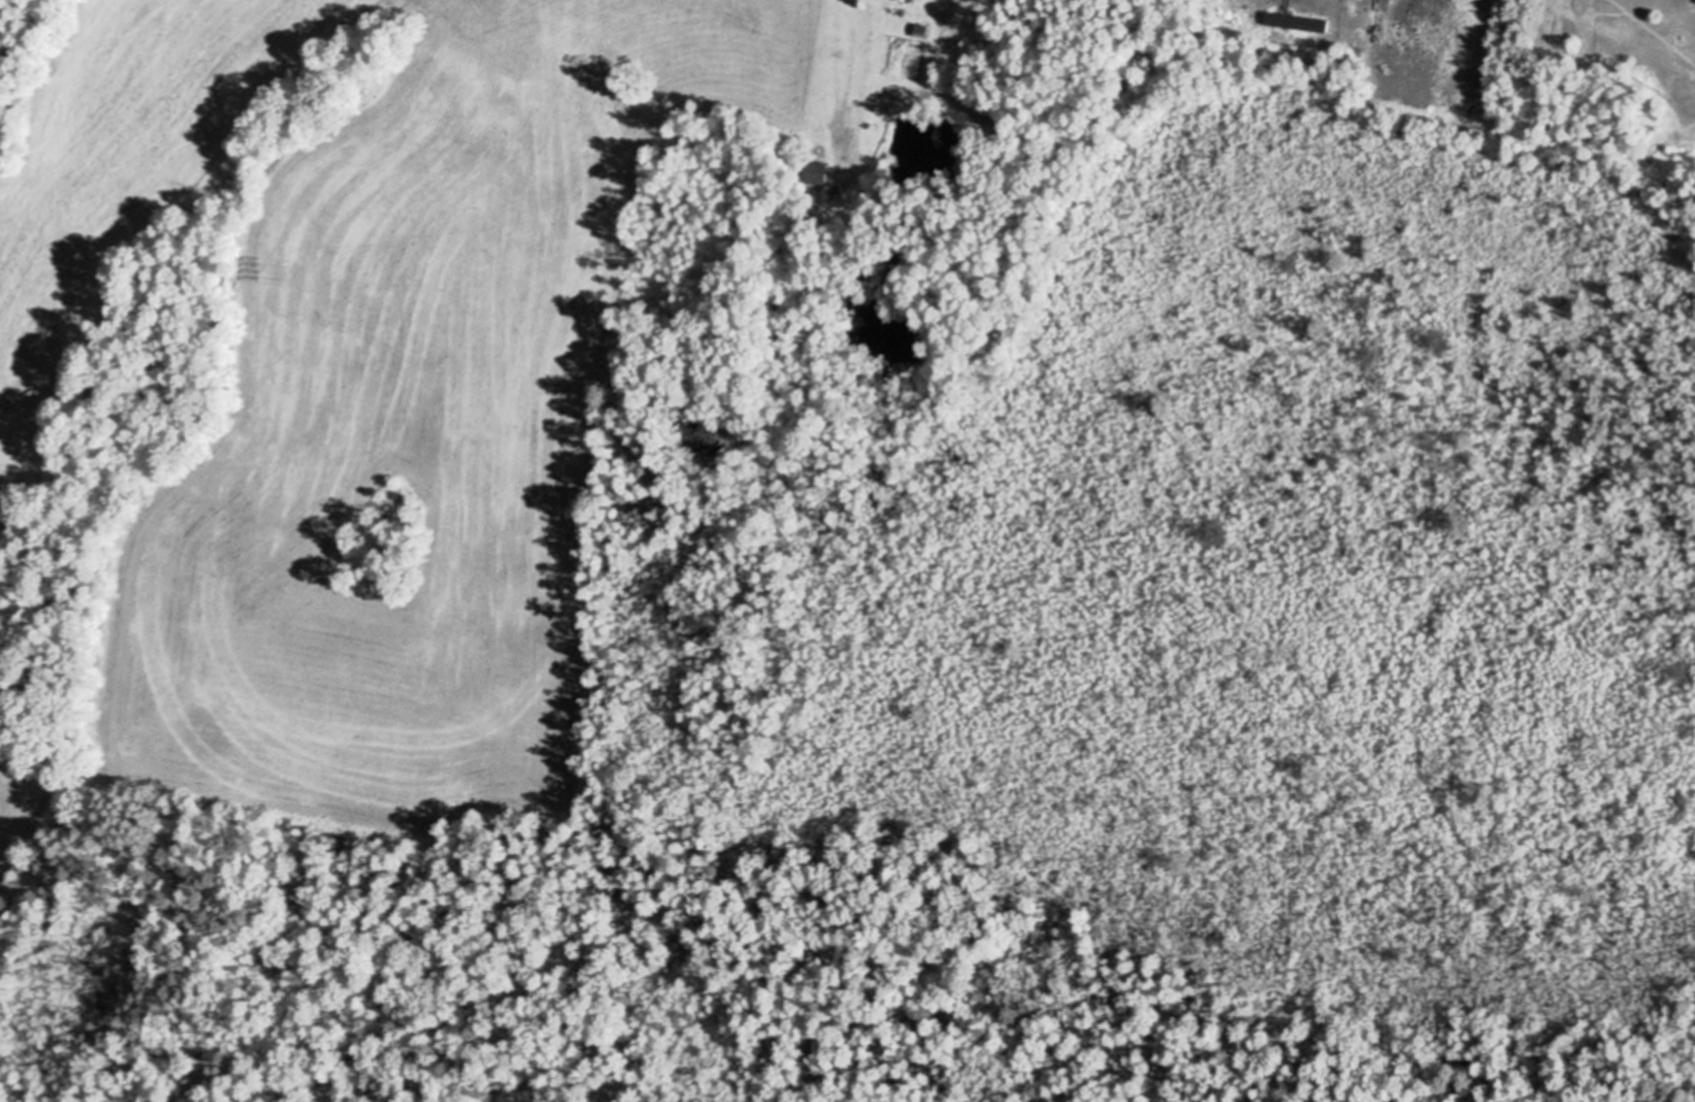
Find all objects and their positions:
building: (1297, 20)

